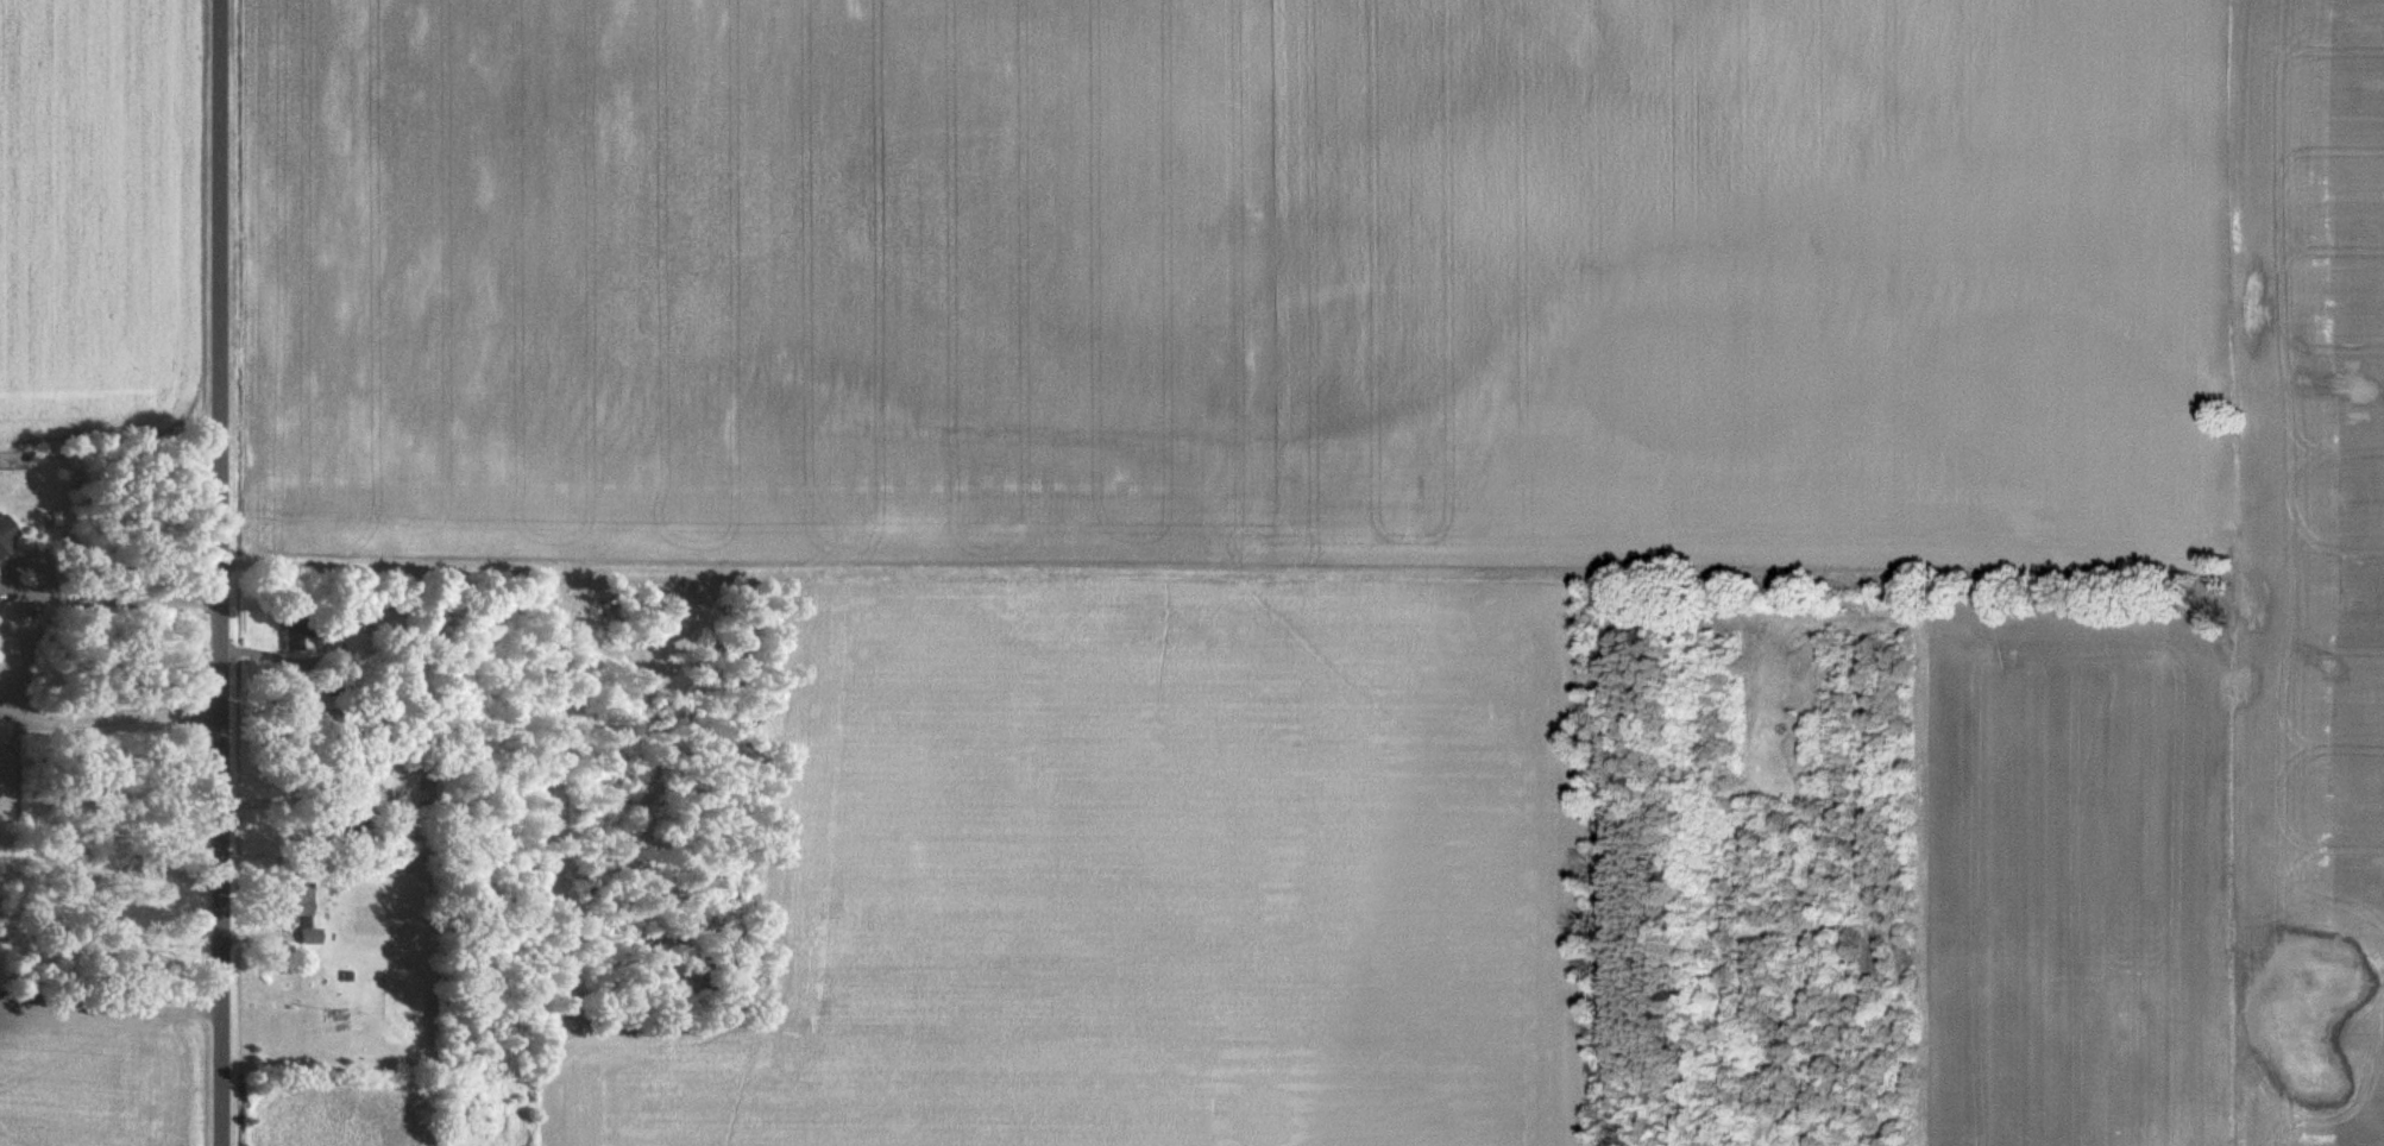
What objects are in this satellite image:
building: (8, 535)
road: (209, 572)
road: (71, 598)
building: (302, 632)
road: (102, 717)
building: (306, 905)

